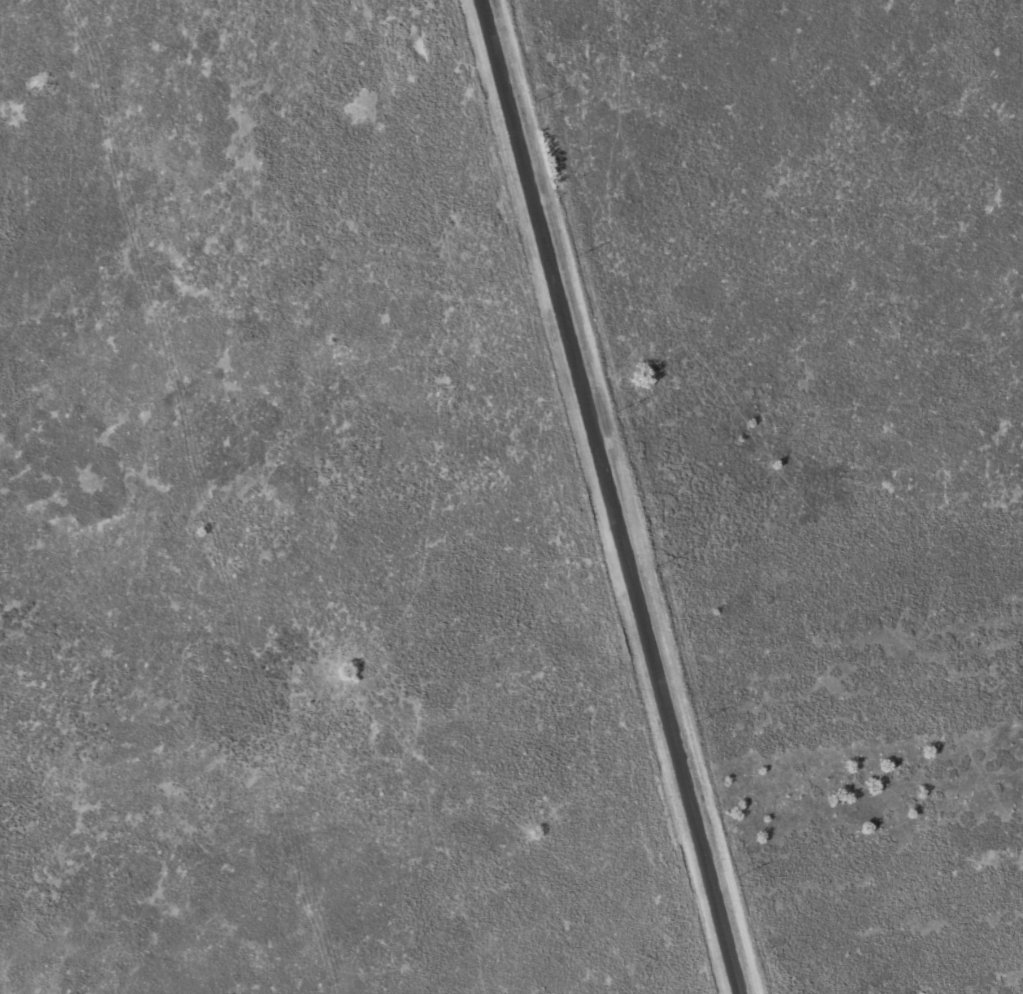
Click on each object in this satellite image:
road: (591, 495)

